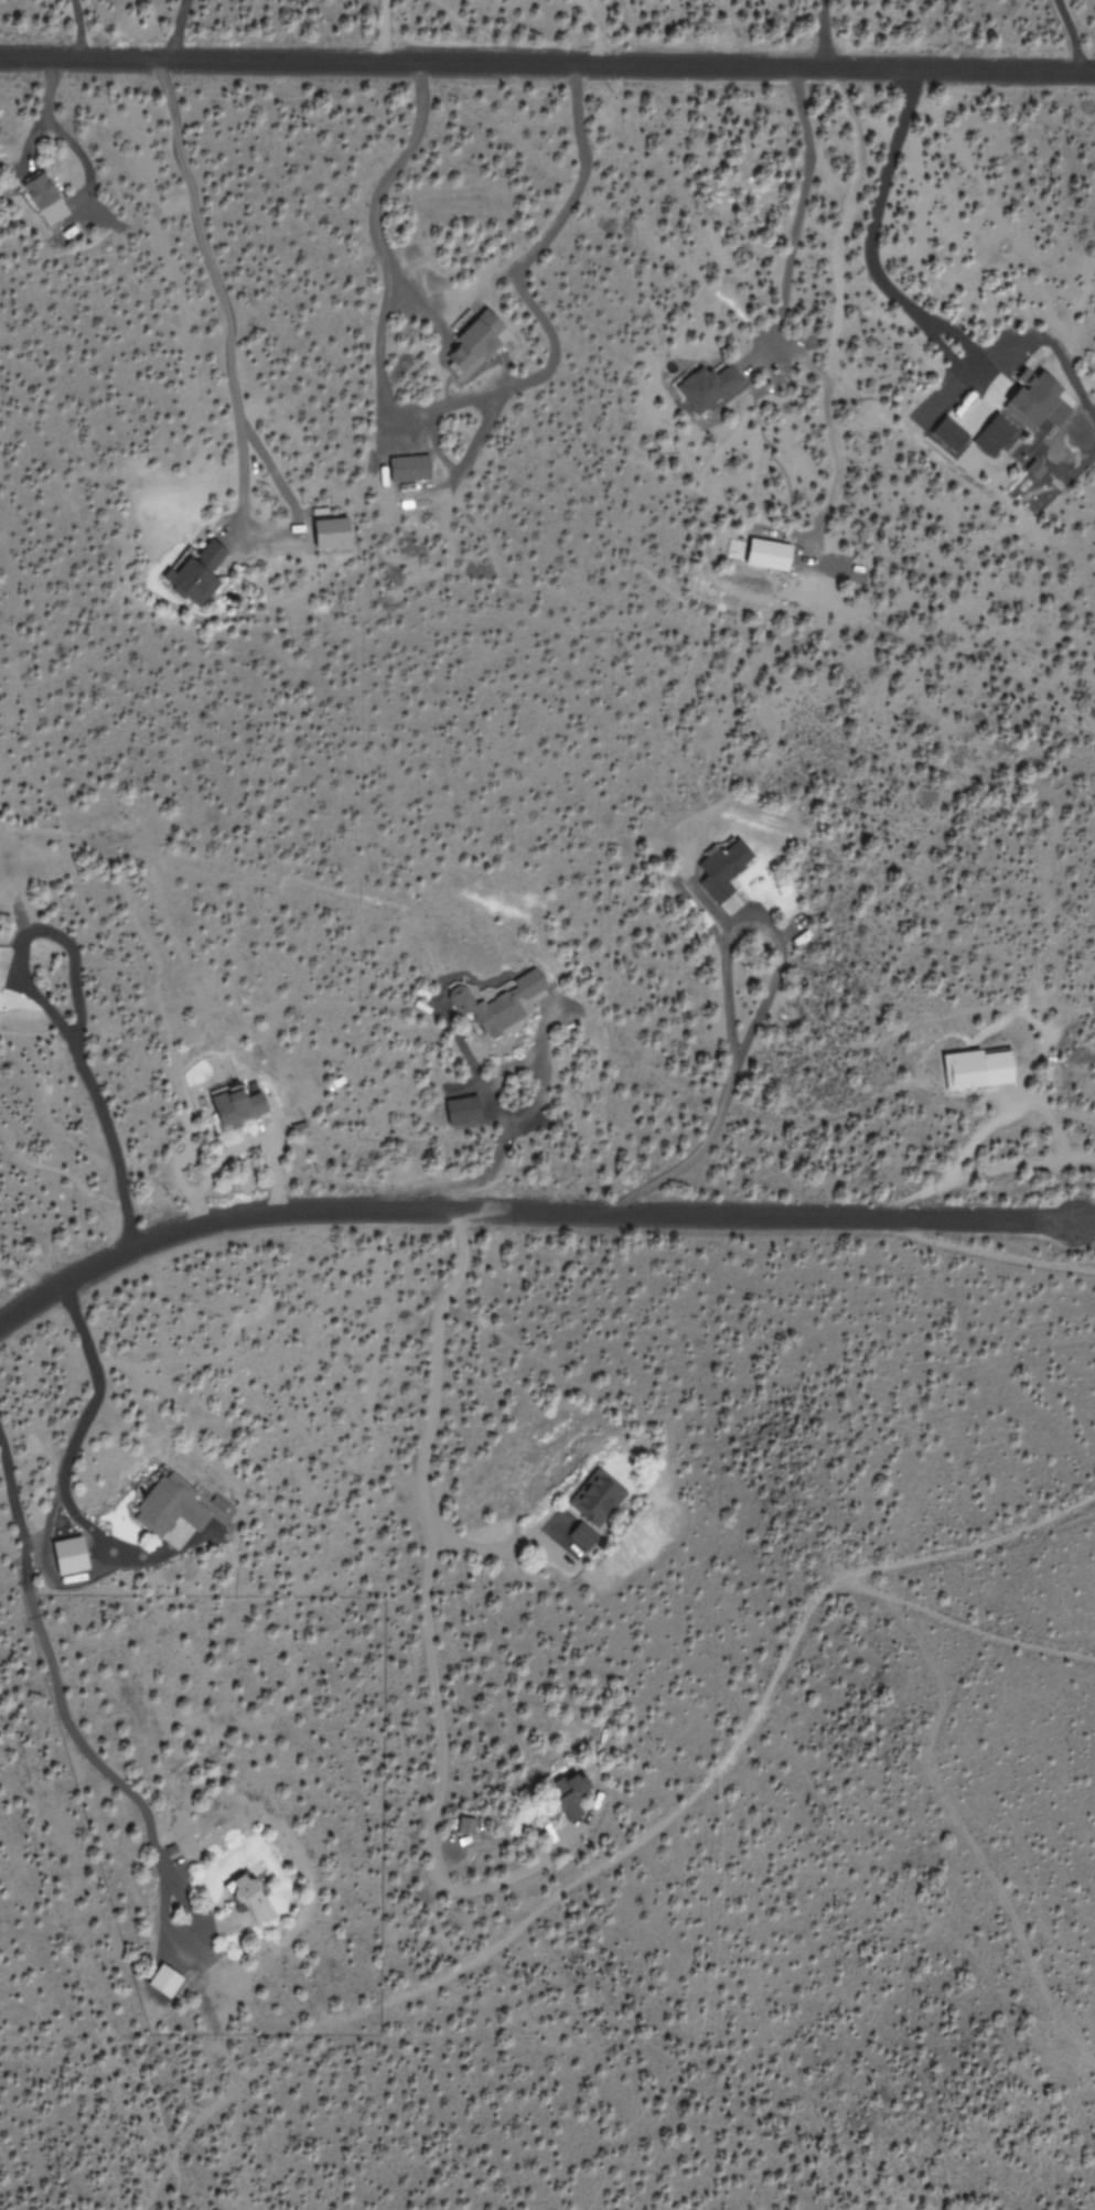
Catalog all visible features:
road: (547, 64)
building: (44, 199)
building: (466, 342)
building: (707, 386)
building: (1038, 396)
building: (998, 429)
building: (952, 433)
building: (402, 468)
building: (1038, 468)
building: (335, 532)
building: (767, 554)
building: (187, 578)
building: (722, 869)
building: (1, 965)
building: (495, 1004)
building: (977, 1069)
building: (238, 1106)
building: (461, 1111)
road: (525, 1210)
building: (590, 1496)
building: (221, 1502)
building: (168, 1508)
building: (579, 1540)
building: (73, 1554)
building: (568, 1794)
building: (464, 1825)
building: (248, 1898)
building: (163, 1981)

